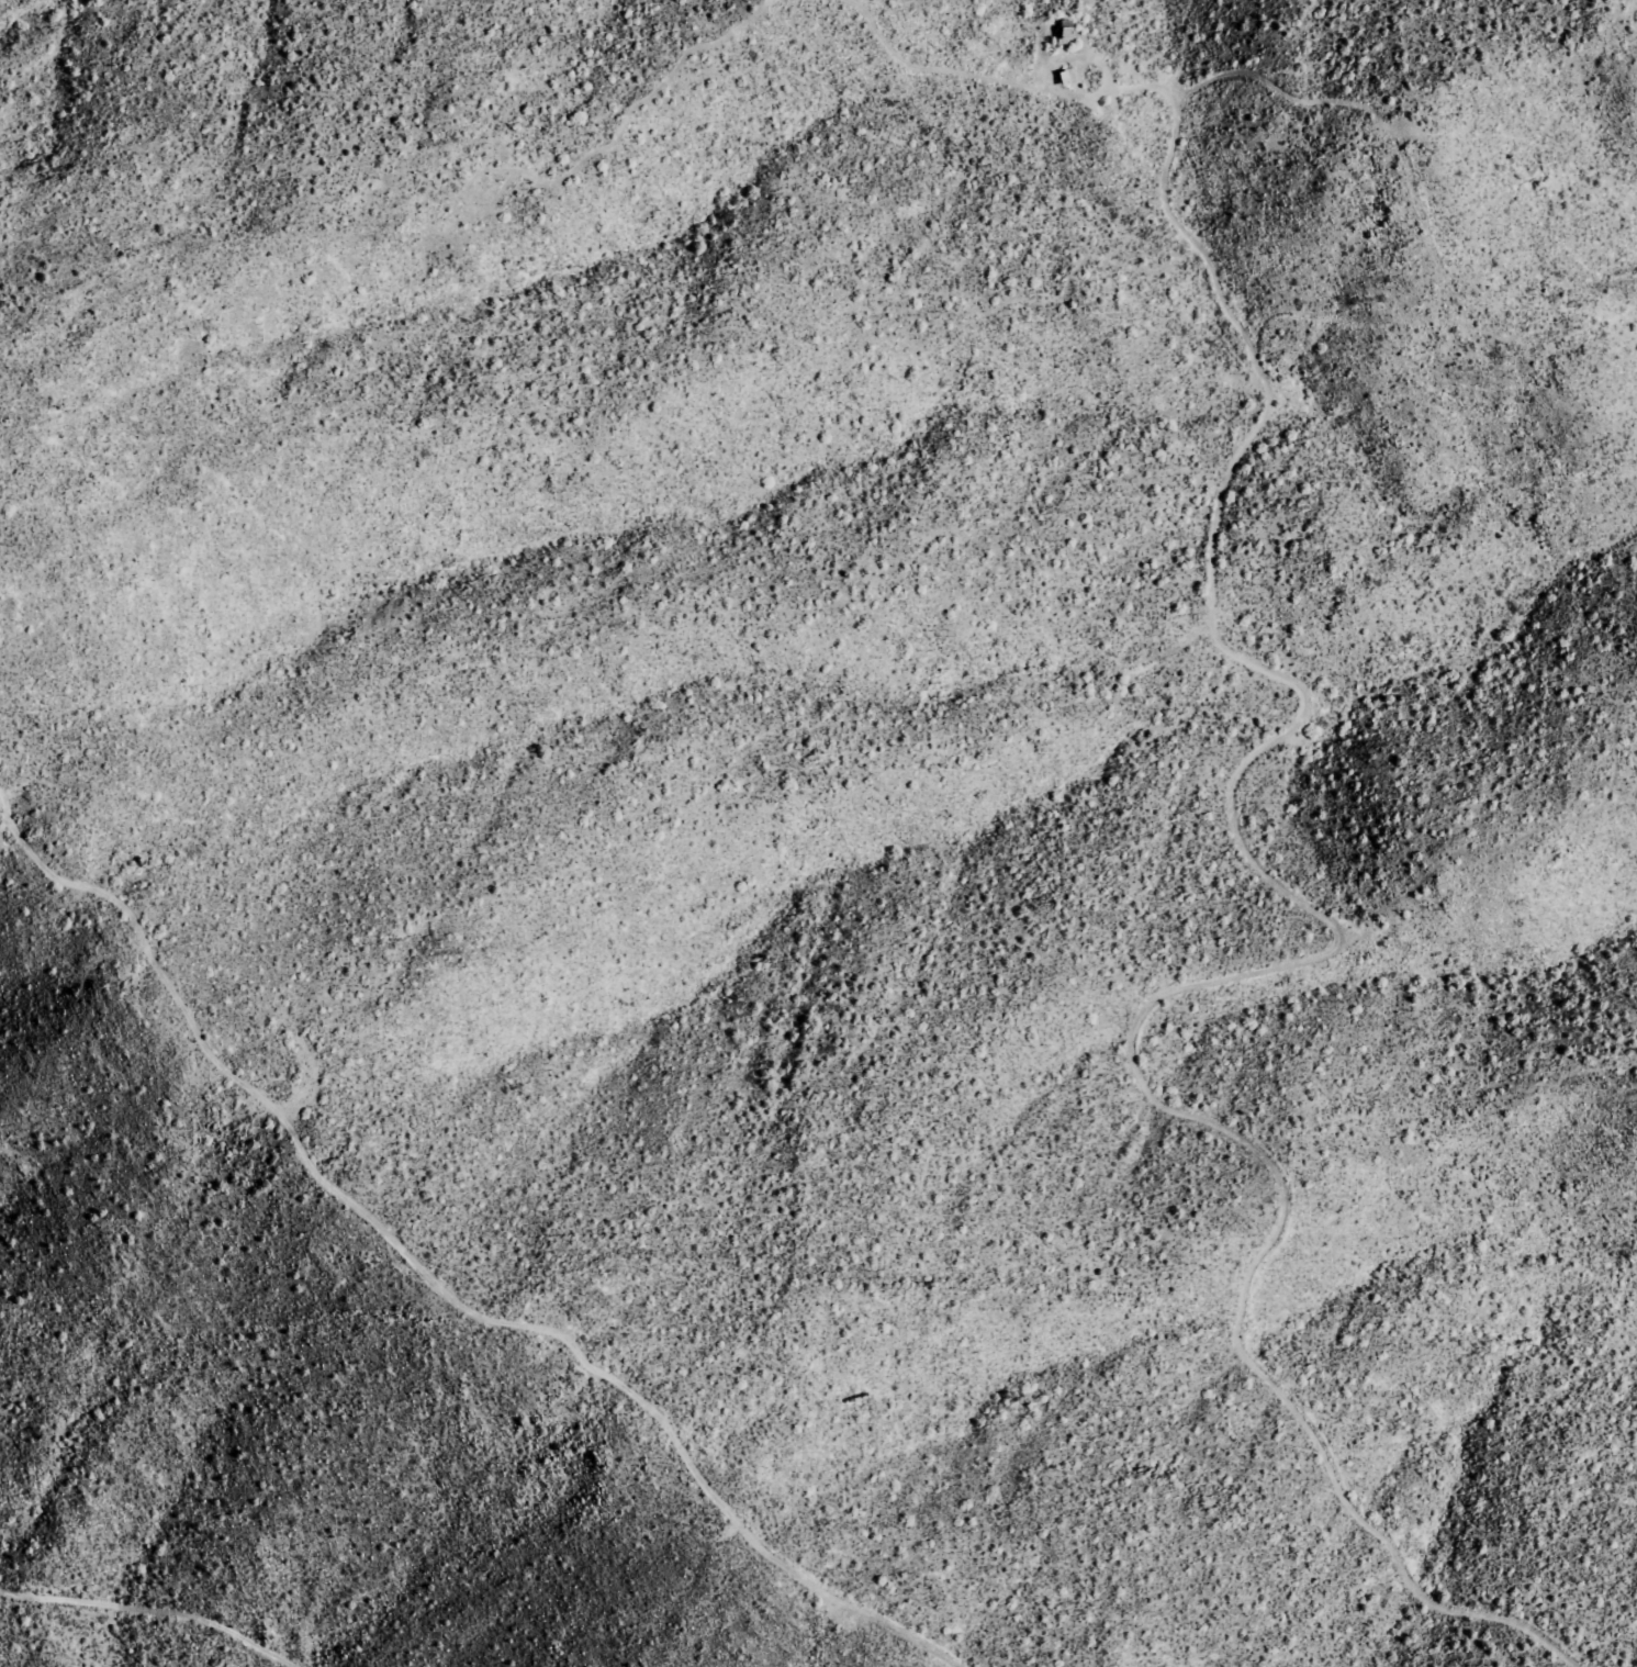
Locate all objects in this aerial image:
road: (561, 1430)

